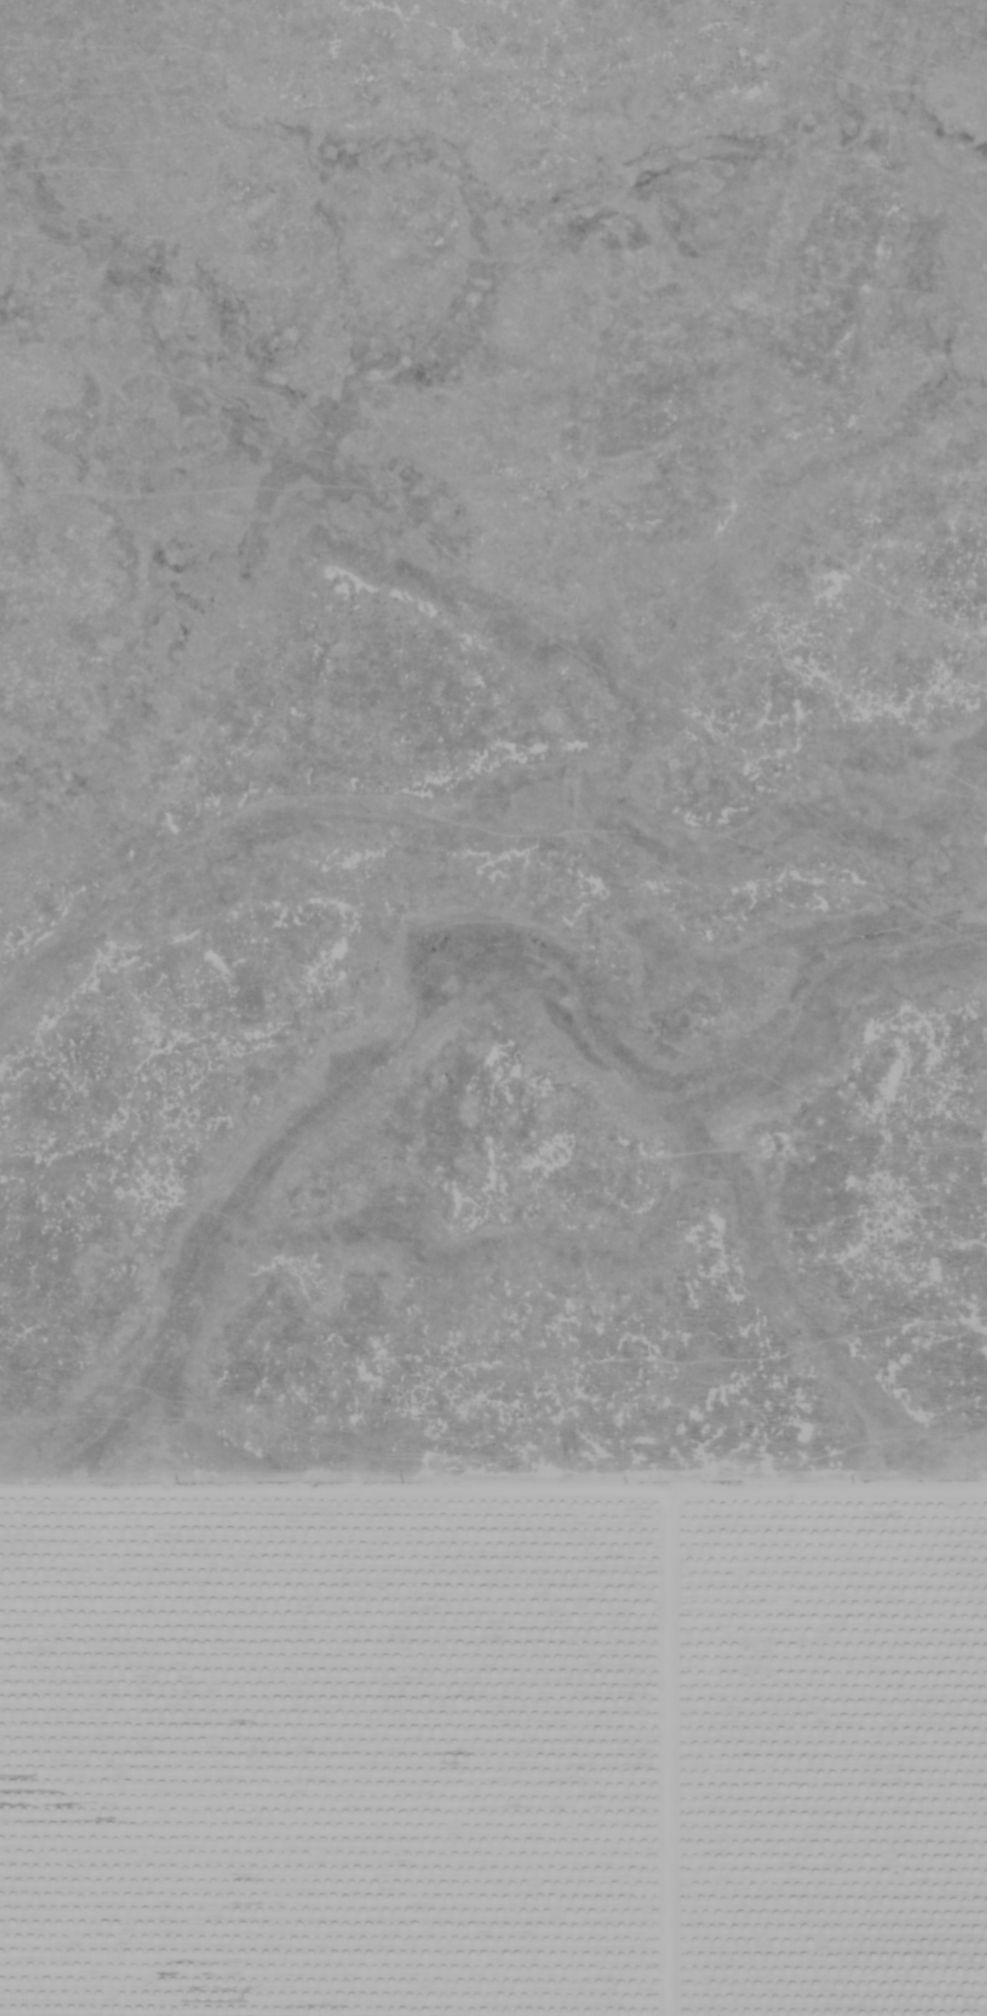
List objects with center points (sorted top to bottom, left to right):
road: (483, 1550)
crop: (496, 1762)
road: (646, 1784)

